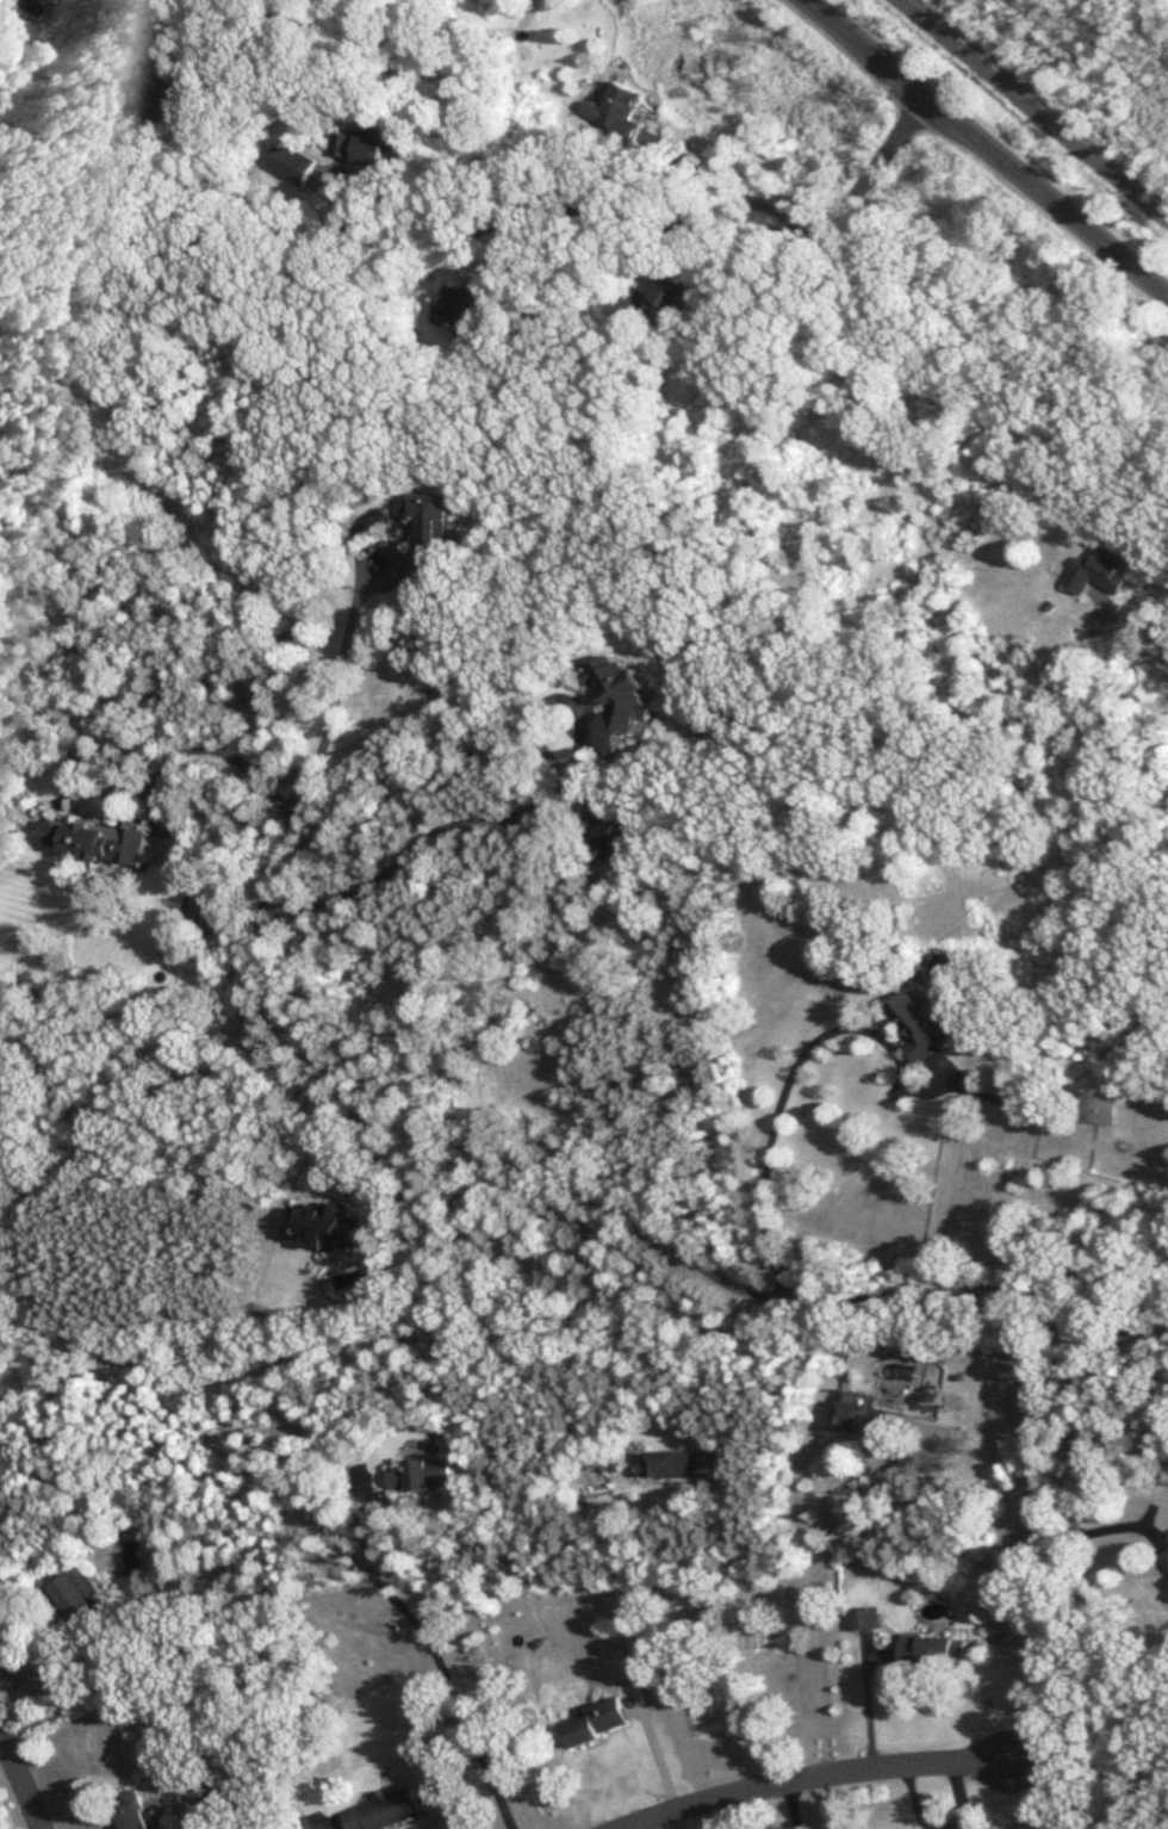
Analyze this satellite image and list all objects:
road: (136, 41)
railway: (1035, 108)
building: (617, 110)
road: (986, 149)
building: (368, 150)
building: (294, 166)
road: (726, 188)
road: (366, 231)
road: (707, 235)
road: (564, 278)
building: (673, 299)
building: (462, 304)
road: (1143, 342)
building: (431, 531)
building: (1101, 572)
road: (1133, 647)
building: (623, 702)
road: (141, 783)
road: (509, 814)
building: (613, 837)
building: (92, 838)
building: (920, 1028)
road: (292, 1068)
building: (1100, 1110)
road: (770, 1128)
road: (1113, 1331)
building: (864, 1415)
road: (1066, 1420)
building: (669, 1465)
building: (418, 1475)
road: (790, 1505)
building: (1164, 1561)
building: (77, 1599)
building: (861, 1619)
road: (741, 1626)
road: (428, 1643)
building: (933, 1653)
road: (43, 1684)
road: (865, 1699)
building: (599, 1723)
road: (810, 1772)
road: (20, 1780)
road: (959, 1797)
road: (912, 1798)
road: (789, 1803)
building: (384, 1811)
building: (138, 1815)

